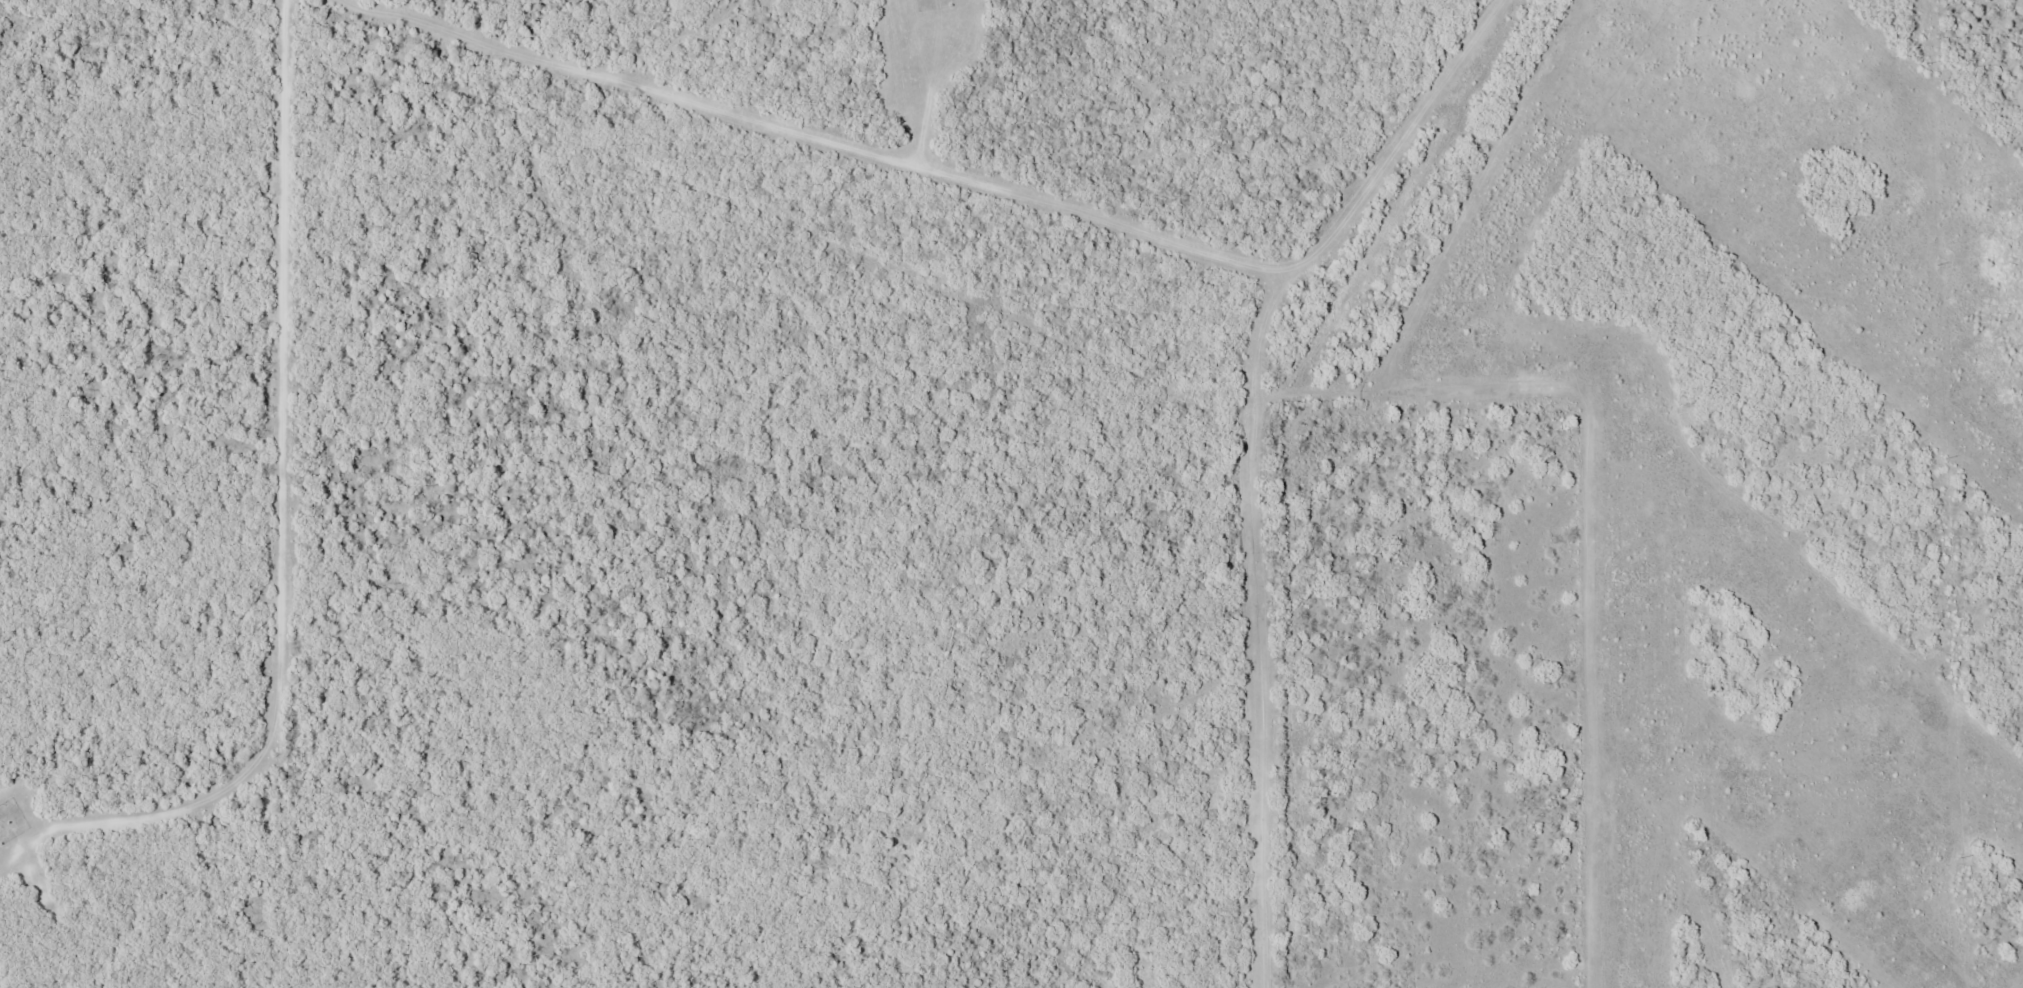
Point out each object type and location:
road: (1430, 131)
road: (833, 139)

